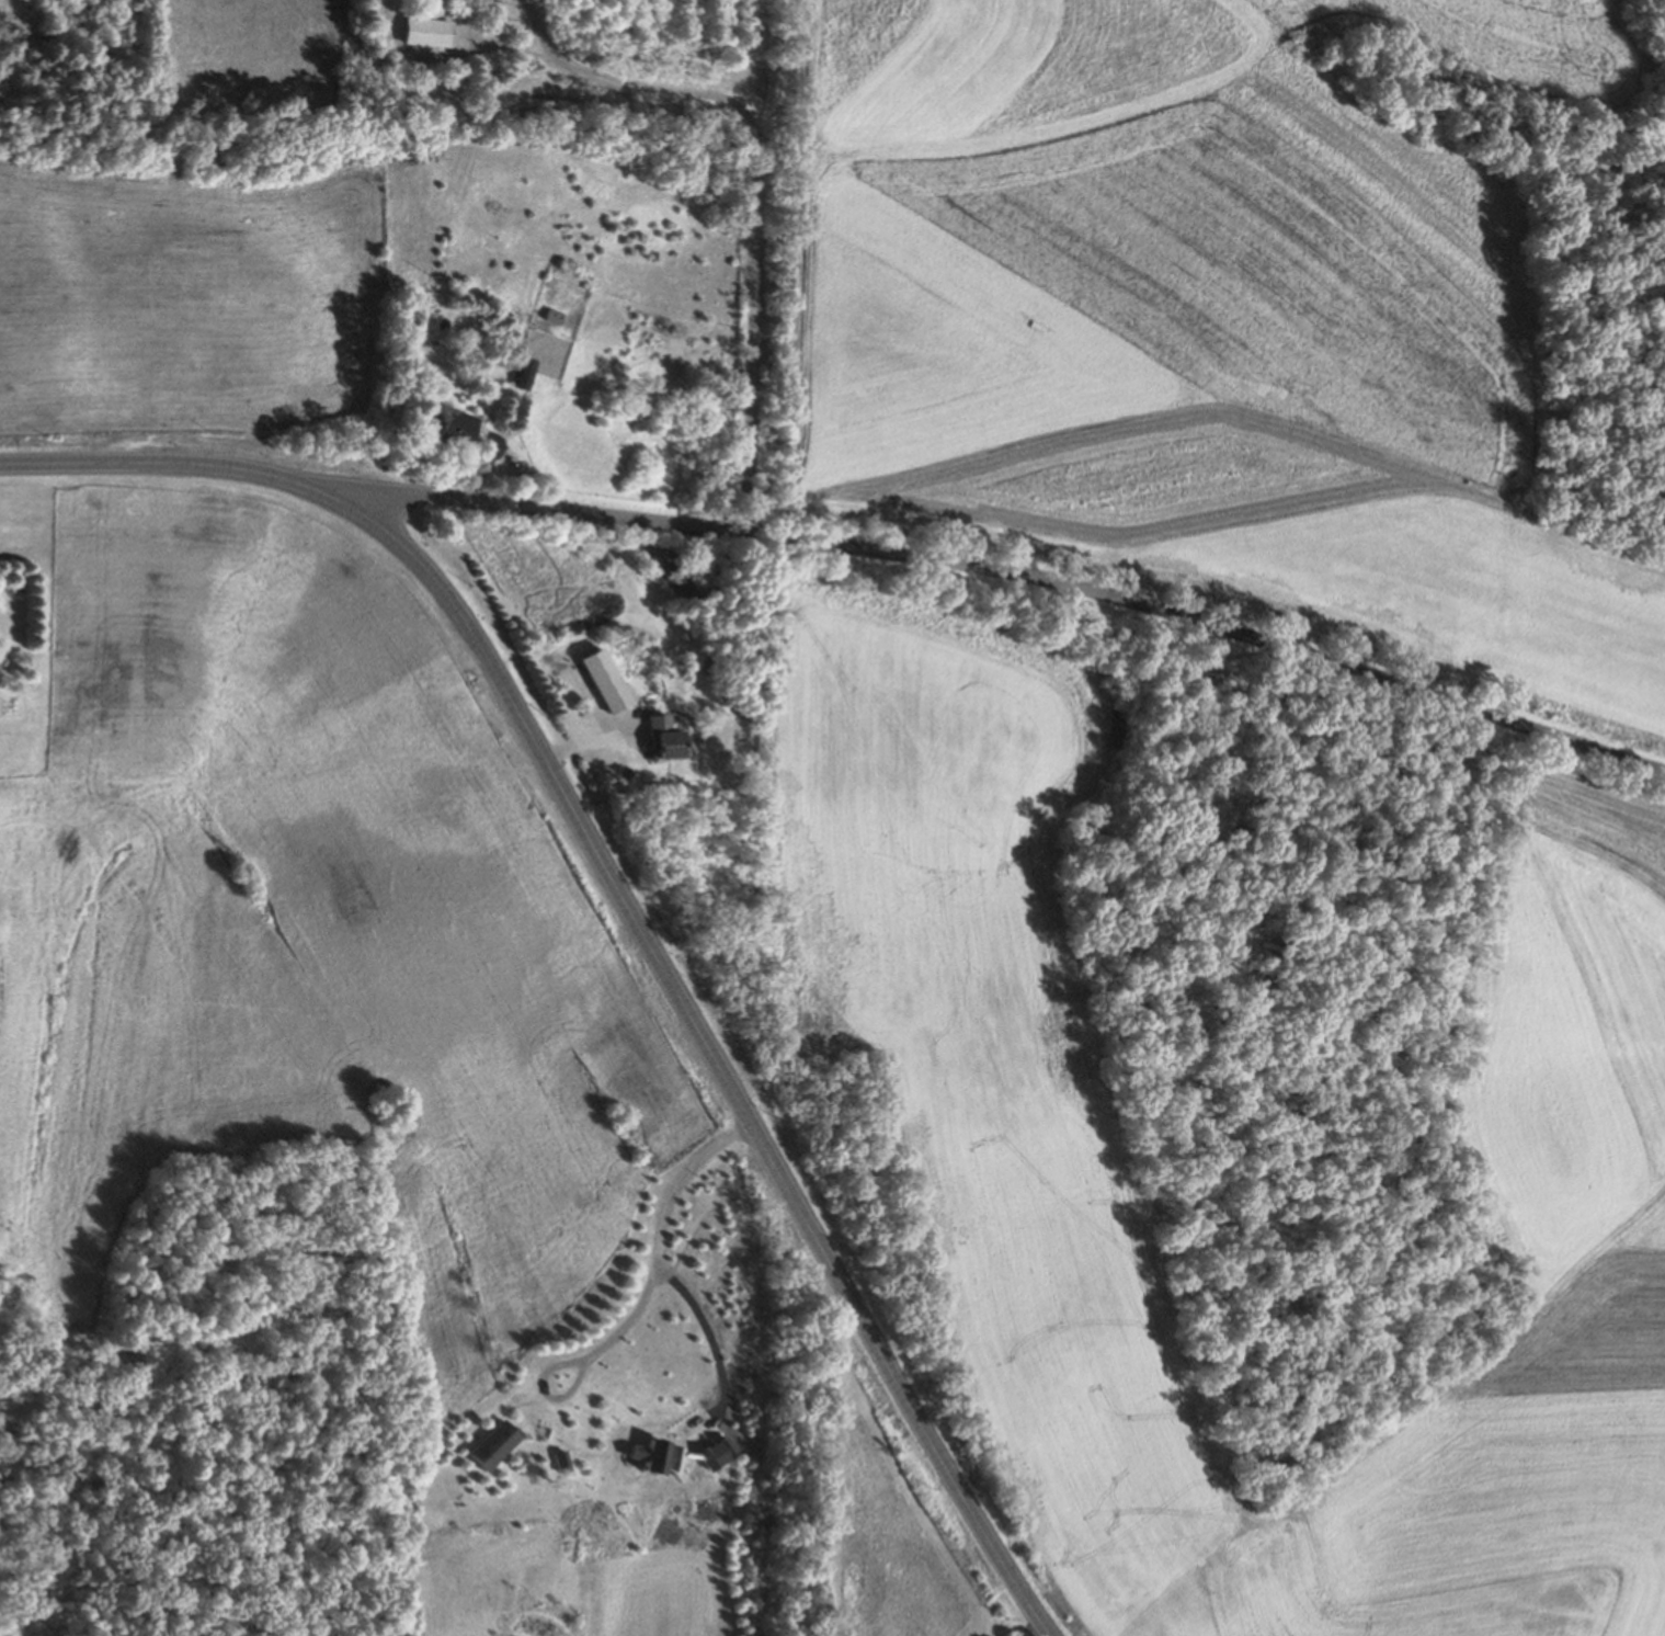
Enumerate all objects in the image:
building: (426, 31)
road: (540, 33)
road: (454, 54)
road: (751, 226)
building: (523, 371)
building: (456, 431)
road: (1013, 572)
building: (606, 680)
building: (664, 740)
road: (582, 747)
road: (624, 902)
road: (640, 1303)
building: (495, 1444)
road: (1033, 1632)

